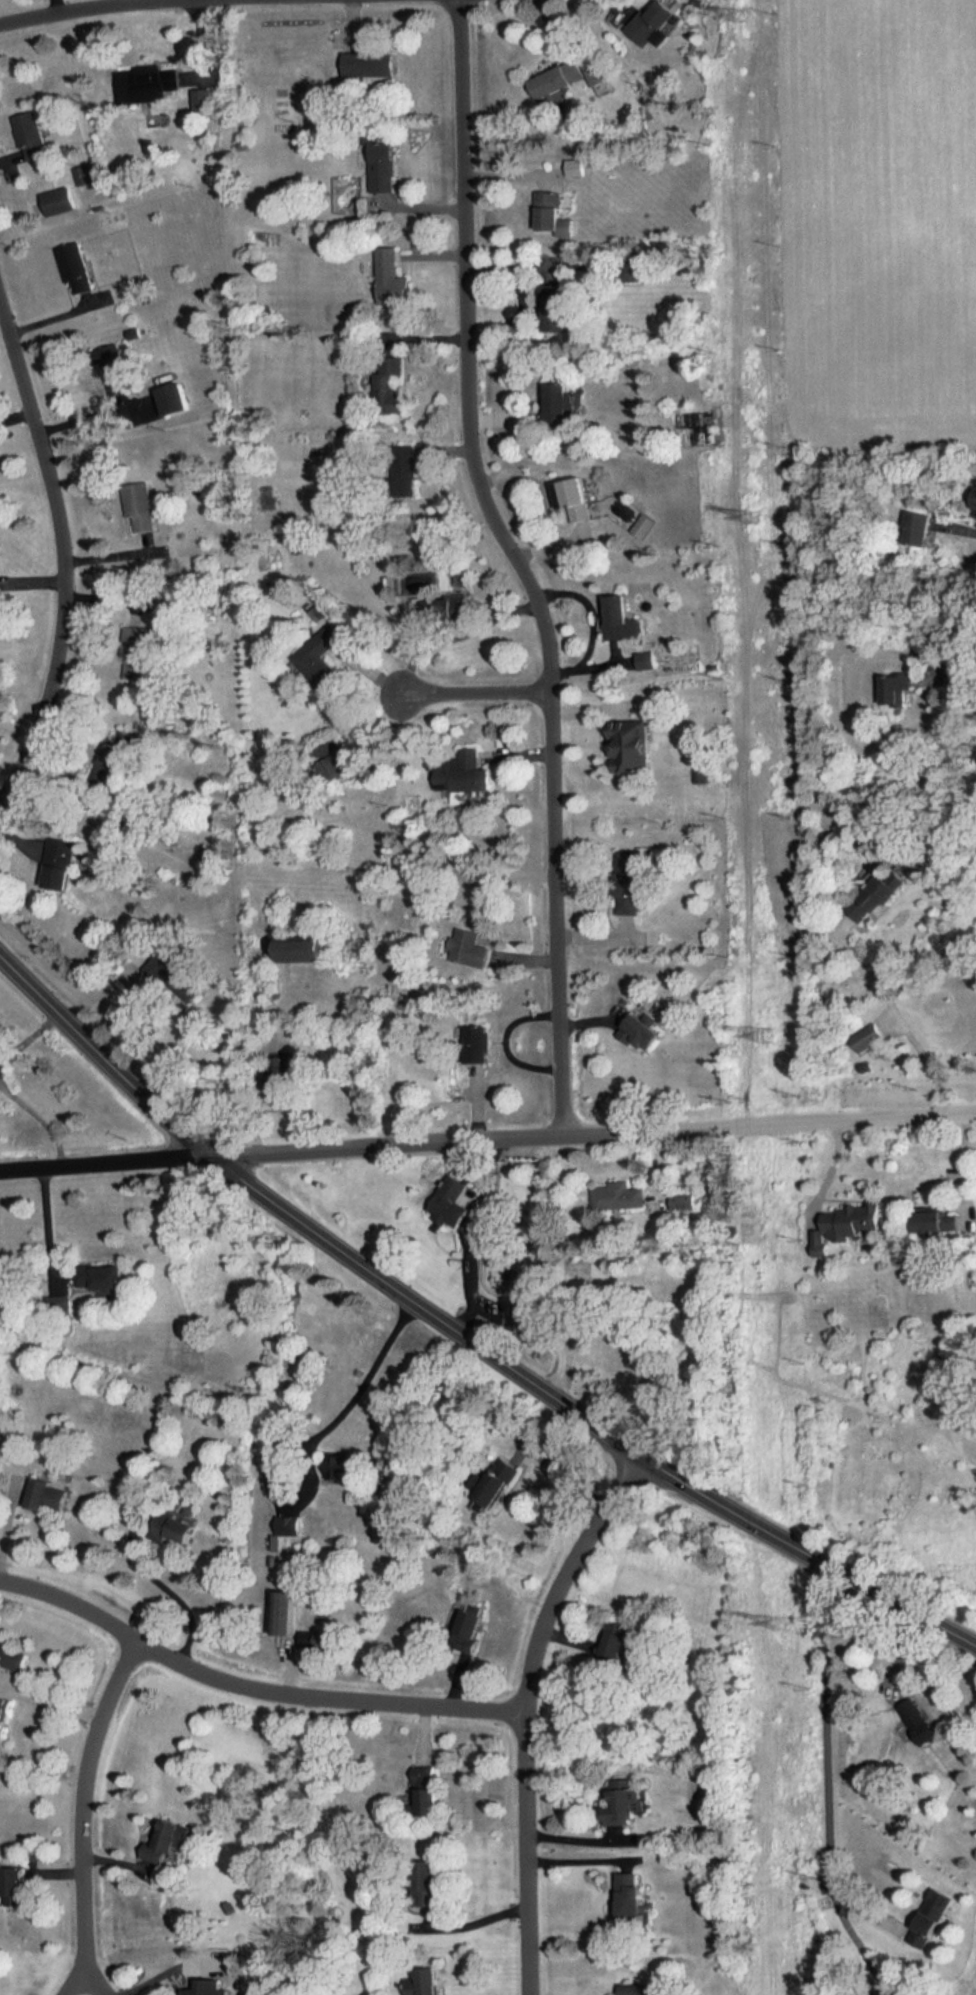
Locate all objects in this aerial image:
road: (67, 8)
power tower: (743, 15)
building: (652, 24)
building: (370, 64)
building: (597, 71)
building: (558, 79)
building: (31, 136)
building: (384, 166)
building: (85, 174)
building: (59, 201)
building: (550, 211)
building: (76, 266)
building: (391, 277)
building: (554, 307)
building: (390, 383)
building: (168, 401)
building: (557, 402)
building: (402, 461)
building: (574, 497)
building: (975, 502)
building: (140, 505)
power tower: (757, 516)
building: (645, 525)
building: (918, 528)
road: (969, 533)
road: (70, 546)
road: (525, 562)
building: (621, 618)
building: (647, 657)
building: (316, 658)
building: (135, 665)
road: (956, 676)
building: (896, 689)
road: (473, 691)
building: (631, 744)
building: (117, 757)
building: (701, 769)
building: (465, 773)
building: (61, 864)
building: (630, 881)
building: (874, 893)
building: (311, 947)
building: (470, 948)
road: (902, 1024)
building: (867, 1033)
building: (643, 1034)
power tower: (767, 1036)
road: (30, 1037)
building: (480, 1044)
road: (106, 1052)
building: (866, 1062)
building: (279, 1087)
road: (35, 1115)
road: (804, 1119)
road: (424, 1140)
road: (107, 1160)
building: (450, 1193)
building: (617, 1197)
building: (682, 1198)
road: (50, 1220)
building: (939, 1222)
building: (846, 1225)
building: (516, 1272)
building: (102, 1277)
building: (59, 1301)
road: (586, 1411)
building: (7, 1430)
road: (306, 1441)
road: (563, 1473)
building: (493, 1489)
building: (51, 1496)
building: (179, 1522)
building: (292, 1524)
road: (168, 1591)
building: (284, 1609)
power tower: (779, 1625)
building: (471, 1627)
building: (321, 1639)
building: (614, 1642)
road: (253, 1685)
road: (55, 1696)
road: (530, 1708)
building: (5, 1714)
building: (919, 1720)
road: (829, 1778)
building: (428, 1790)
building: (626, 1803)
road: (89, 1812)
building: (168, 1843)
building: (15, 1887)
building: (631, 1900)
building: (933, 1920)
road: (480, 1923)
road: (164, 1975)
building: (430, 1982)
building: (640, 1987)
building: (209, 1988)
building: (893, 1992)

